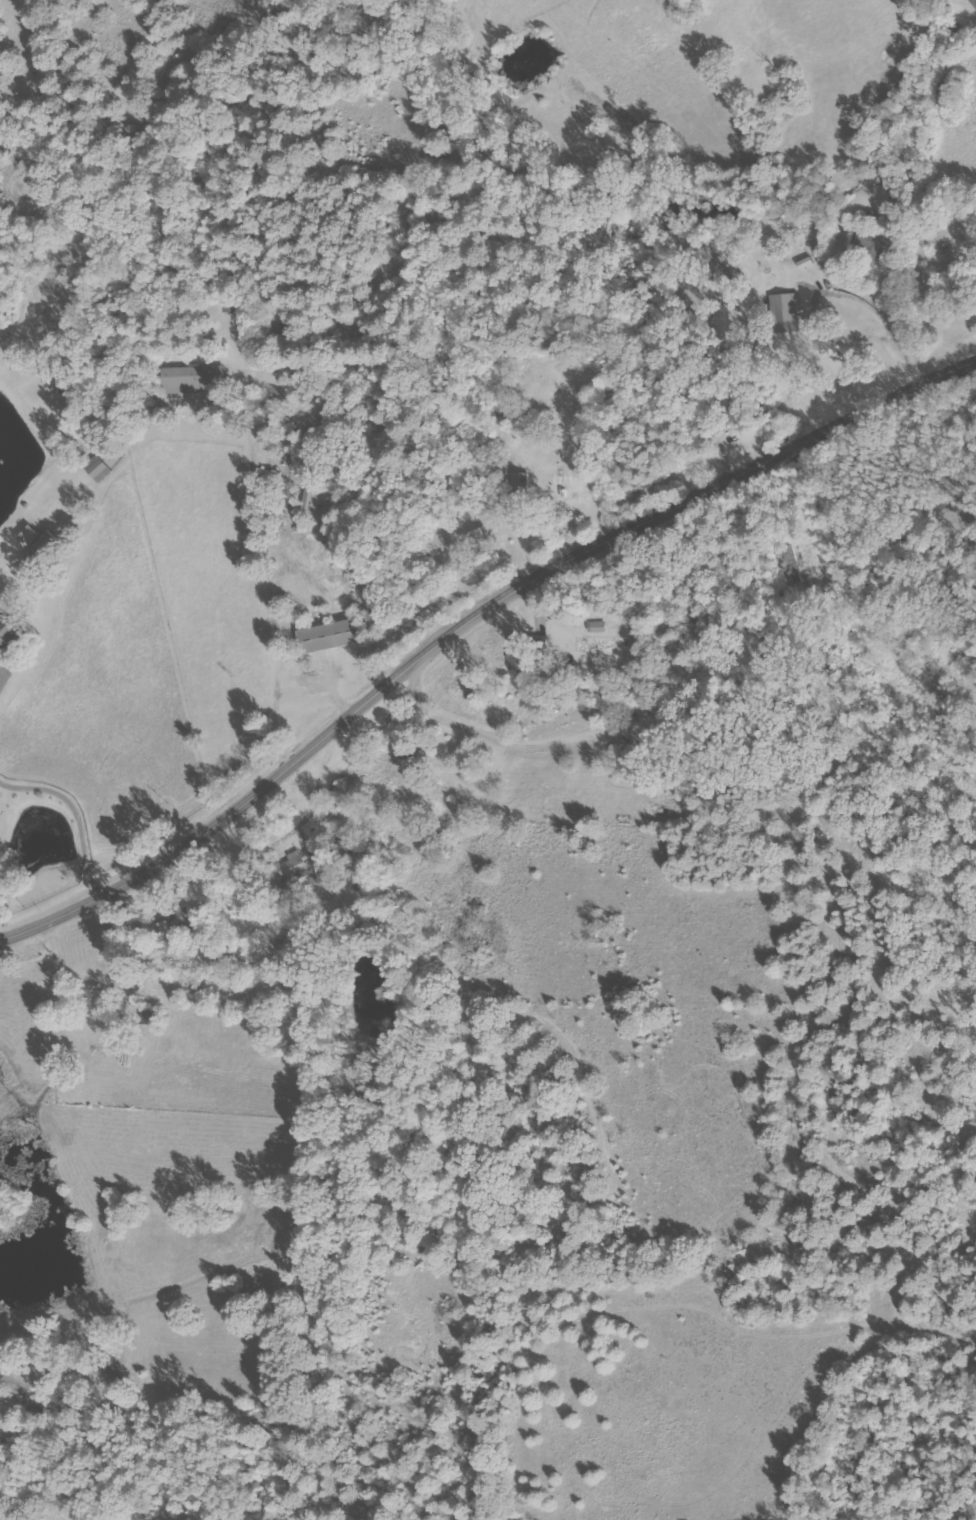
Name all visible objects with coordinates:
building: (973, 2)
building: (877, 248)
road: (813, 313)
building: (793, 319)
building: (198, 386)
building: (104, 474)
building: (519, 481)
building: (530, 489)
building: (479, 536)
building: (43, 540)
building: (489, 546)
road: (527, 551)
road: (262, 555)
road: (539, 610)
road: (469, 628)
road: (773, 628)
building: (608, 633)
building: (646, 634)
building: (11, 636)
building: (340, 643)
building: (525, 656)
road: (5, 678)
road: (335, 697)
building: (635, 708)
road: (273, 732)
road: (525, 751)
road: (79, 816)
building: (304, 863)
building: (100, 999)

